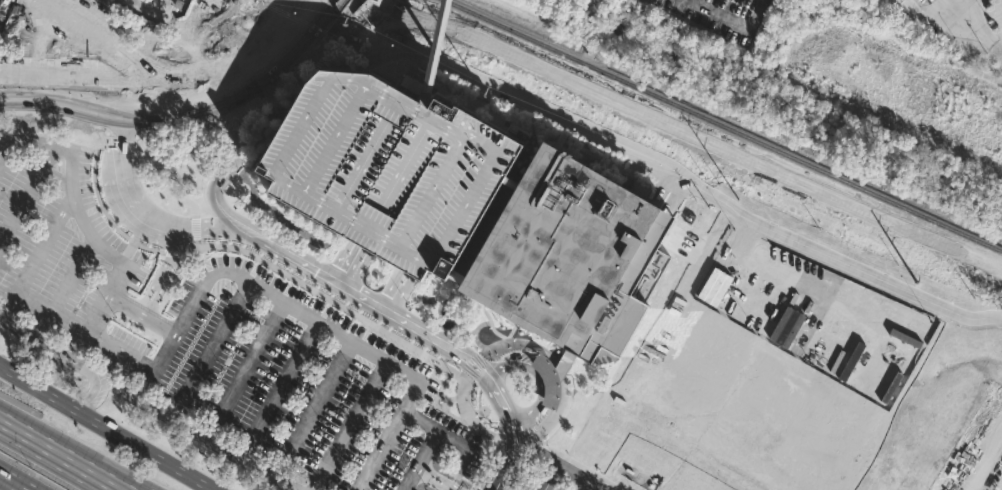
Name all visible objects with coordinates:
power substation: (155, 11)
road: (367, 20)
road: (341, 21)
road: (732, 21)
road: (388, 45)
road: (439, 54)
road: (226, 75)
road: (396, 77)
road: (171, 83)
building: (911, 87)
road: (70, 97)
road: (192, 115)
railway: (723, 125)
railway: (708, 131)
road: (59, 149)
road: (654, 164)
building: (388, 171)
parking garage: (388, 171)
road: (226, 172)
road: (125, 190)
road: (211, 228)
road: (104, 251)
road: (38, 257)
building: (570, 264)
road: (350, 269)
road: (165, 274)
road: (386, 289)
road: (399, 296)
road: (124, 306)
road: (53, 313)
road: (389, 316)
parking lot: (222, 328)
road: (210, 346)
road: (121, 353)
road: (67, 357)
road: (387, 359)
road: (534, 375)
road: (421, 421)
road: (105, 428)
road: (453, 439)
road: (64, 452)
road: (510, 455)
road: (564, 459)
road: (420, 460)
parking lot: (549, 476)
road: (434, 479)
road: (11, 483)

